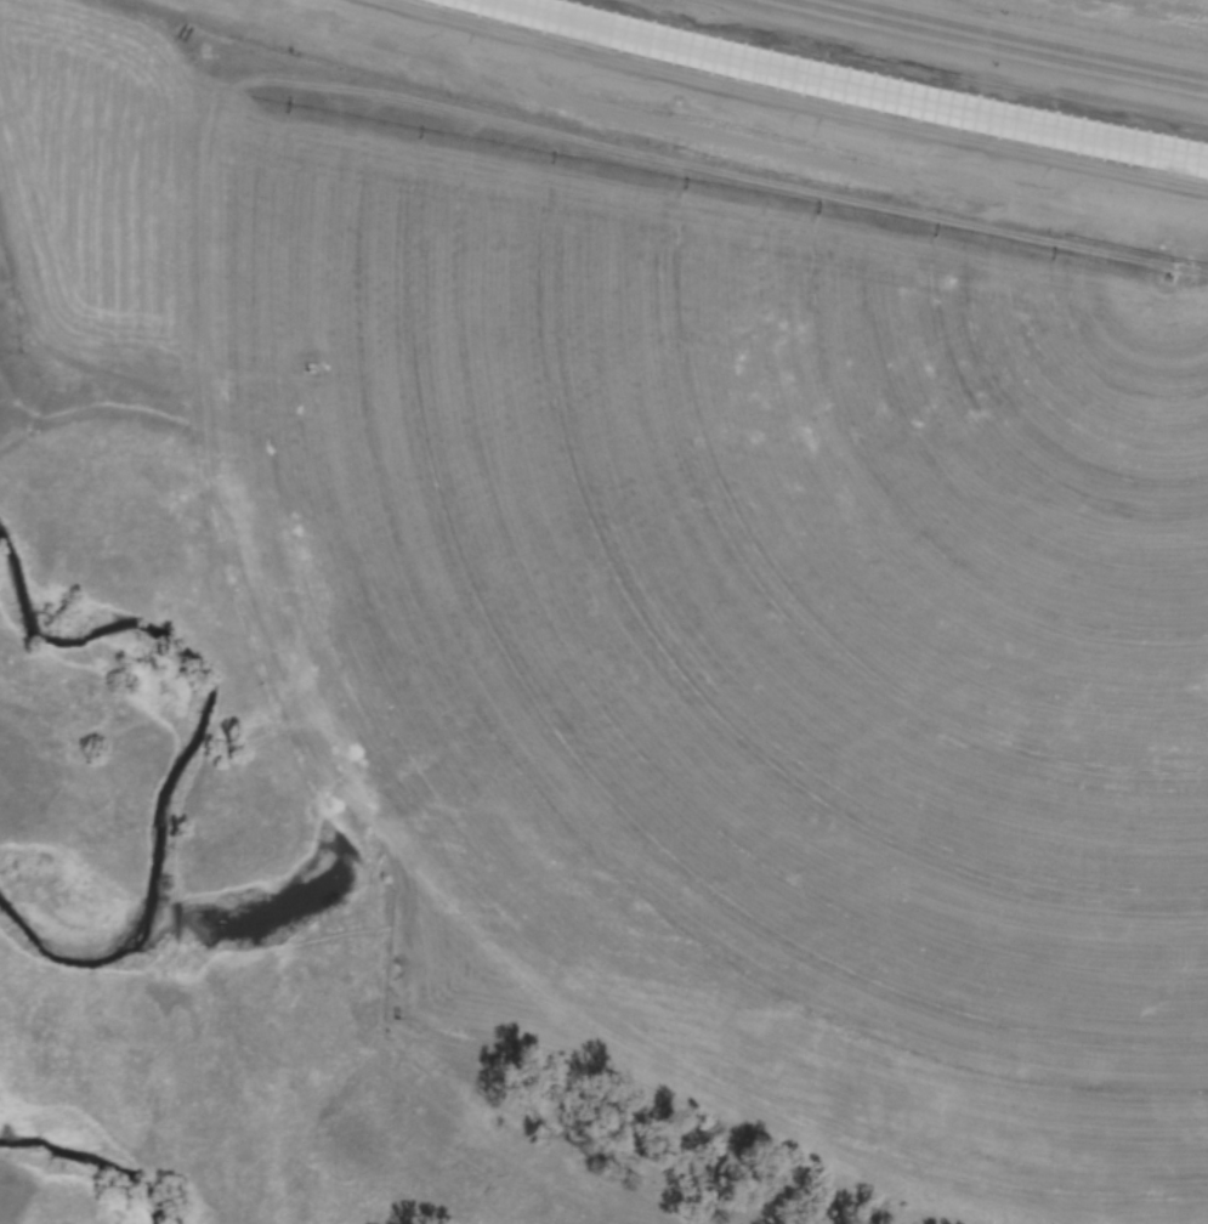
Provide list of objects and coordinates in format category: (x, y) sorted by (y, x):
road: (1009, 40)
road: (857, 84)
crop: (697, 610)

